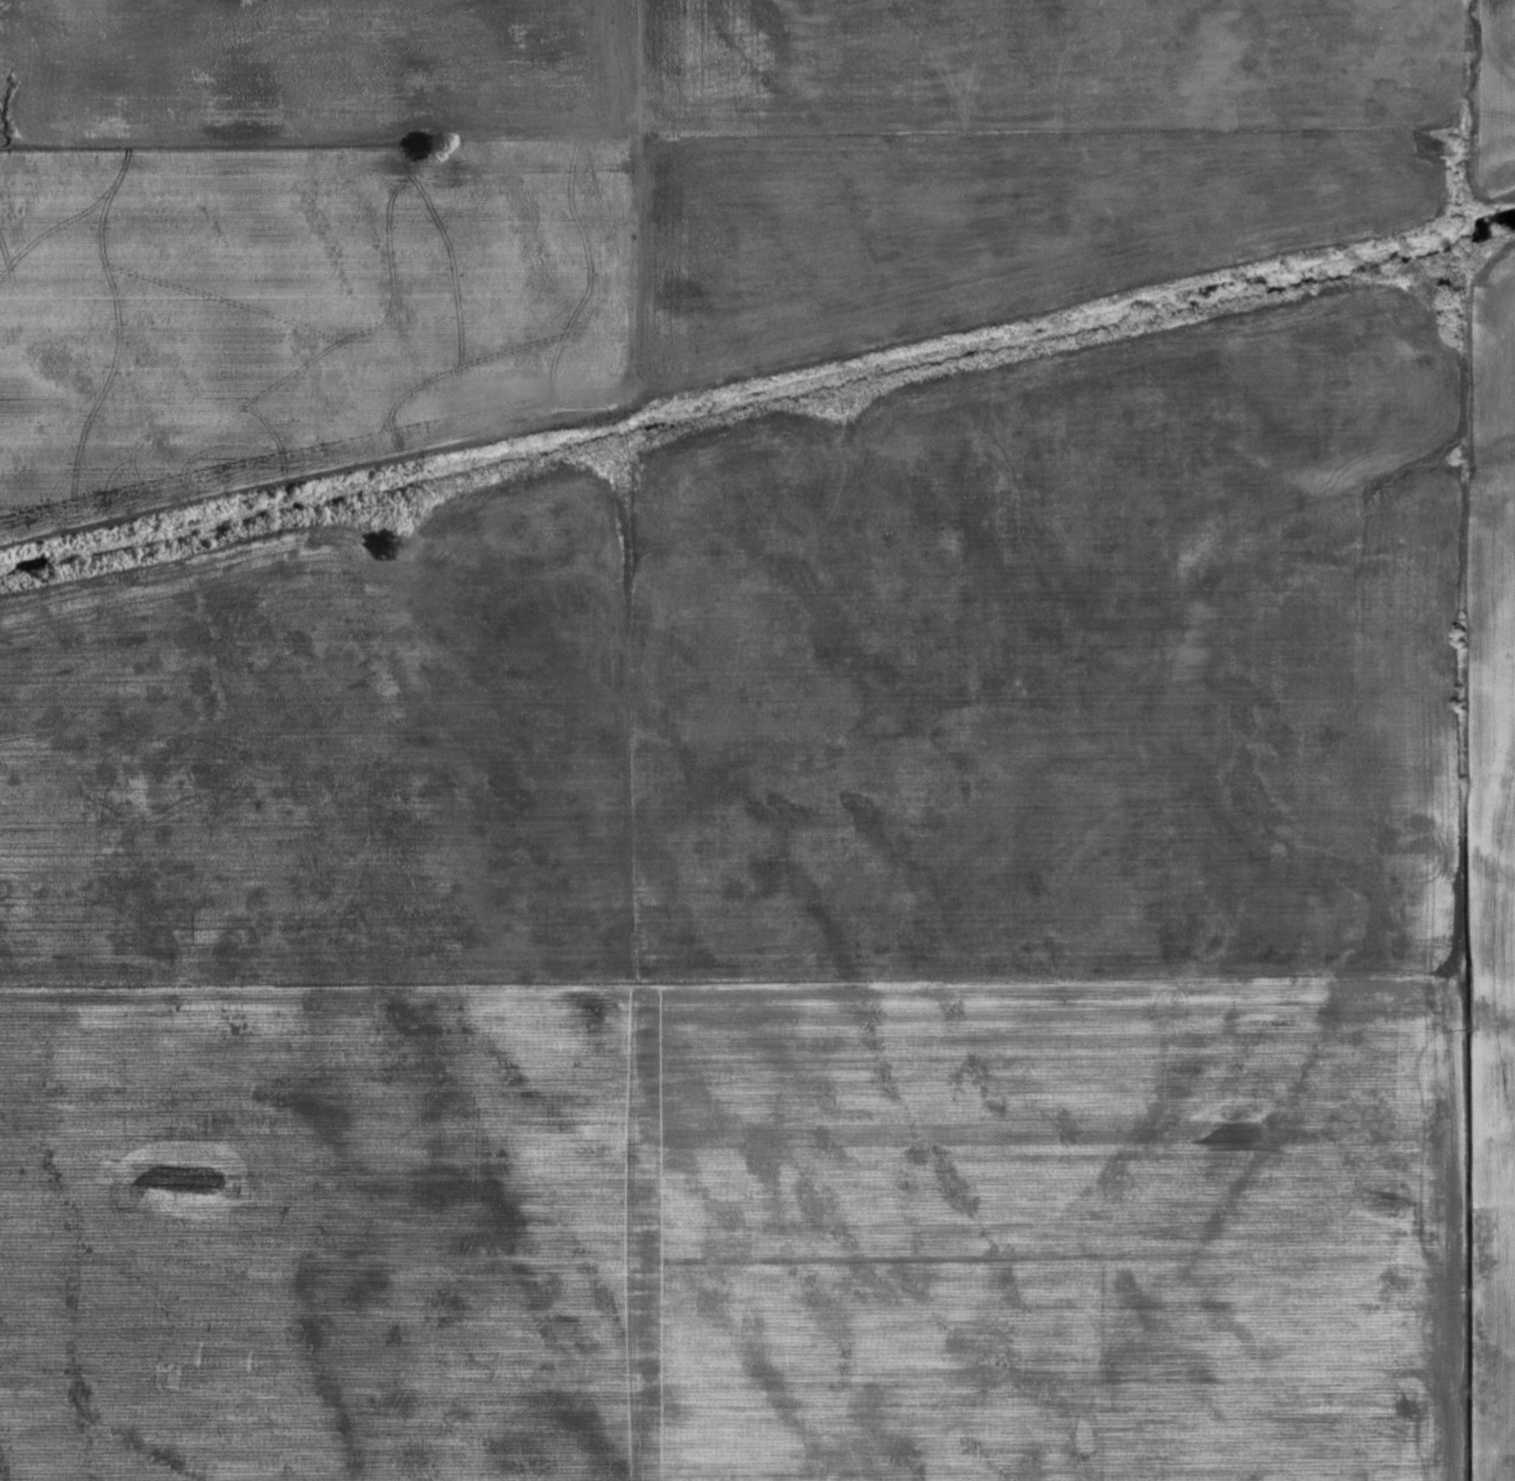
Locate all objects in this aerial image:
road: (1494, 971)

